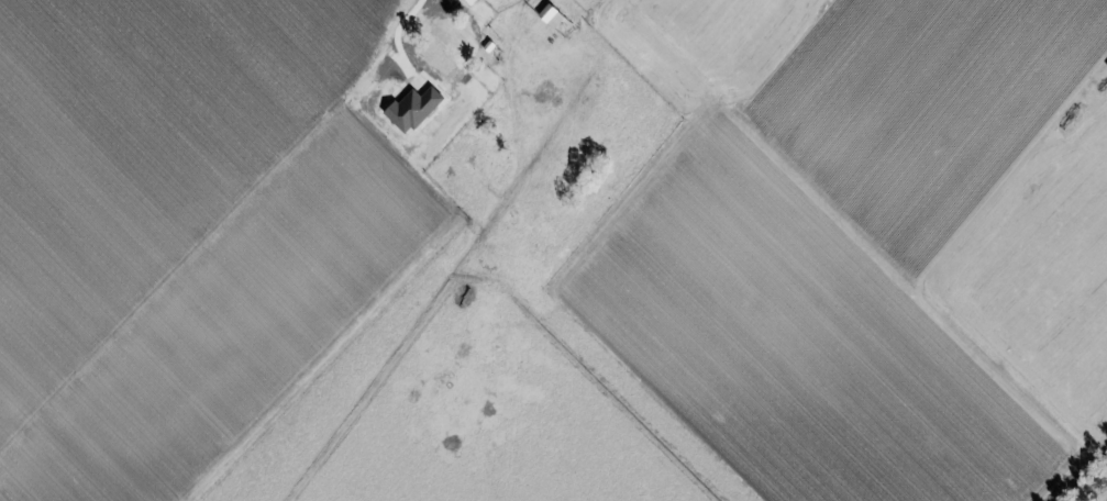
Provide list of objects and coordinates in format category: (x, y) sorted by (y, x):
building: (471, 1)
building: (553, 15)
building: (457, 46)

